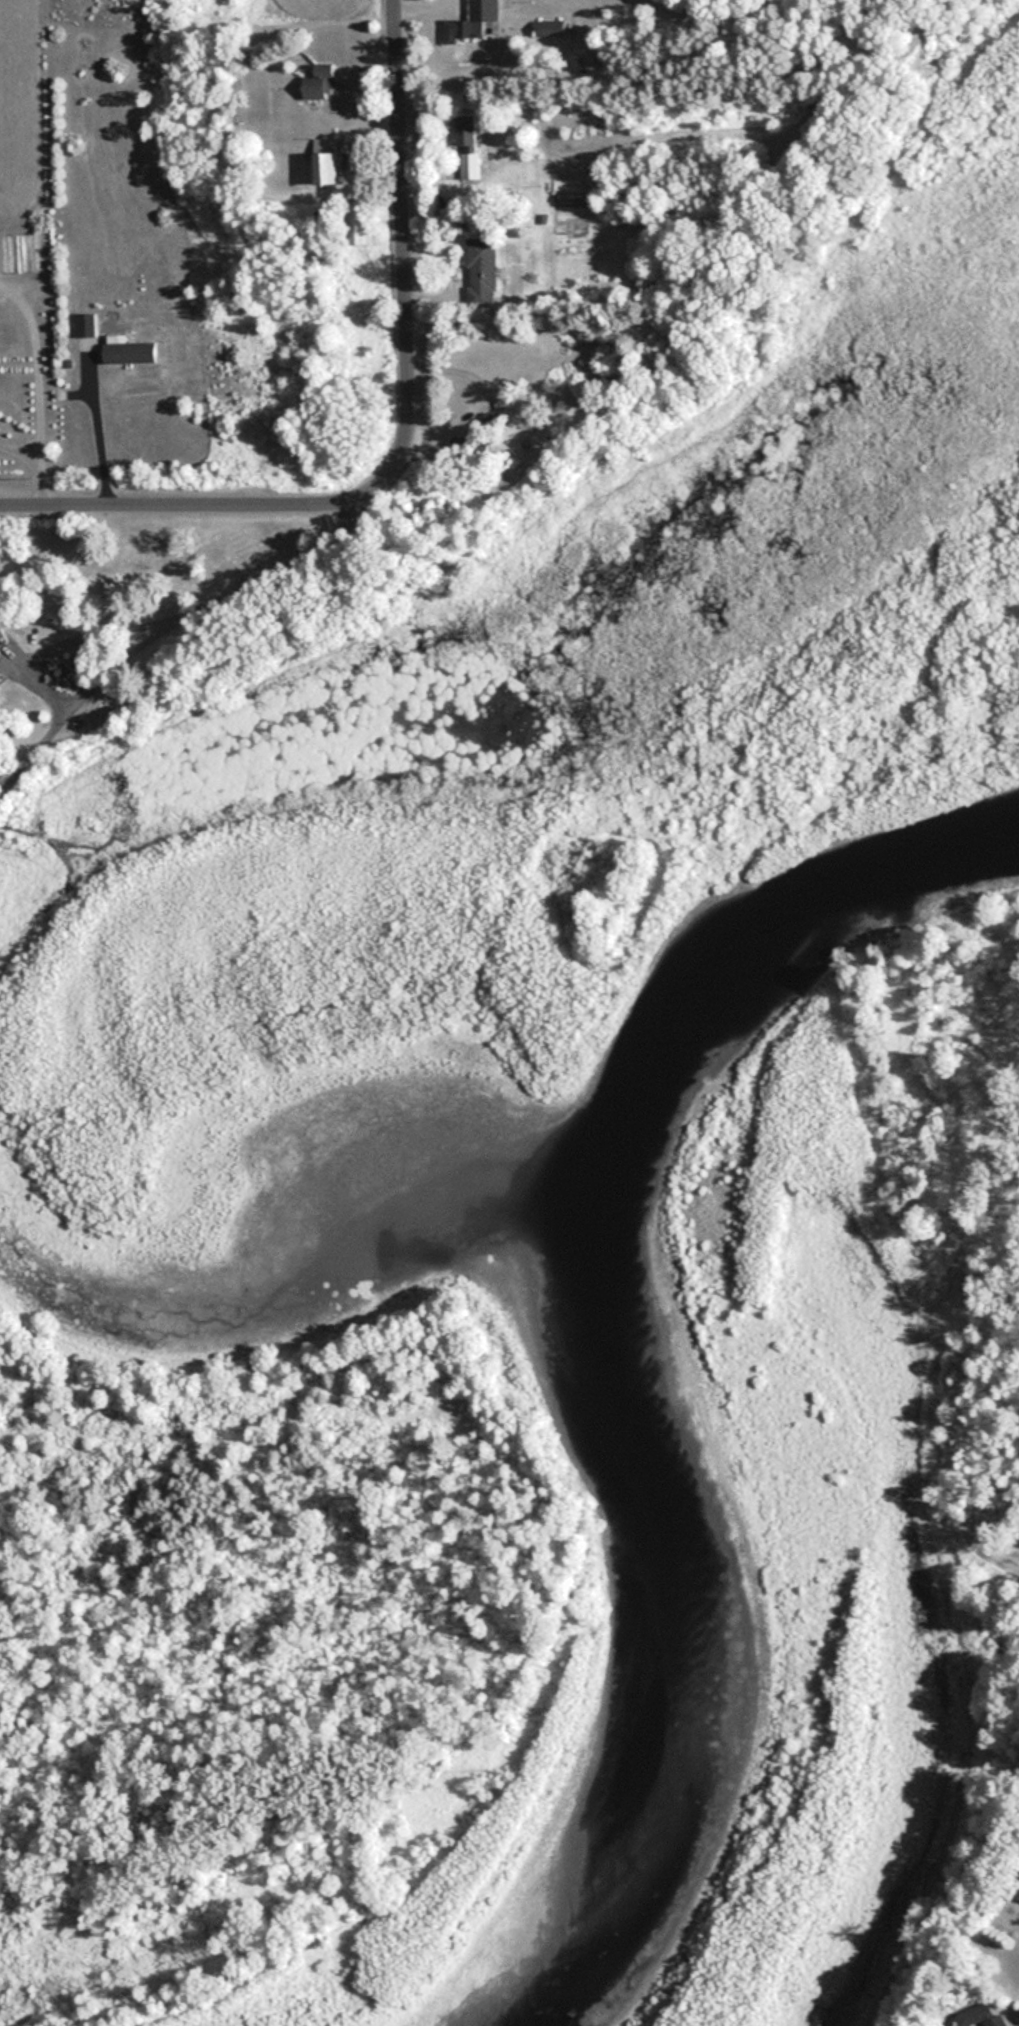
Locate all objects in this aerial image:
building: (466, 26)
building: (550, 28)
building: (322, 83)
building: (467, 146)
building: (326, 163)
building: (359, 223)
building: (481, 273)
road: (407, 275)
building: (86, 325)
building: (129, 350)
road: (91, 428)
road: (31, 469)
road: (165, 506)
road: (159, 611)
river: (738, 1382)
building: (1017, 1893)
building: (981, 2018)

